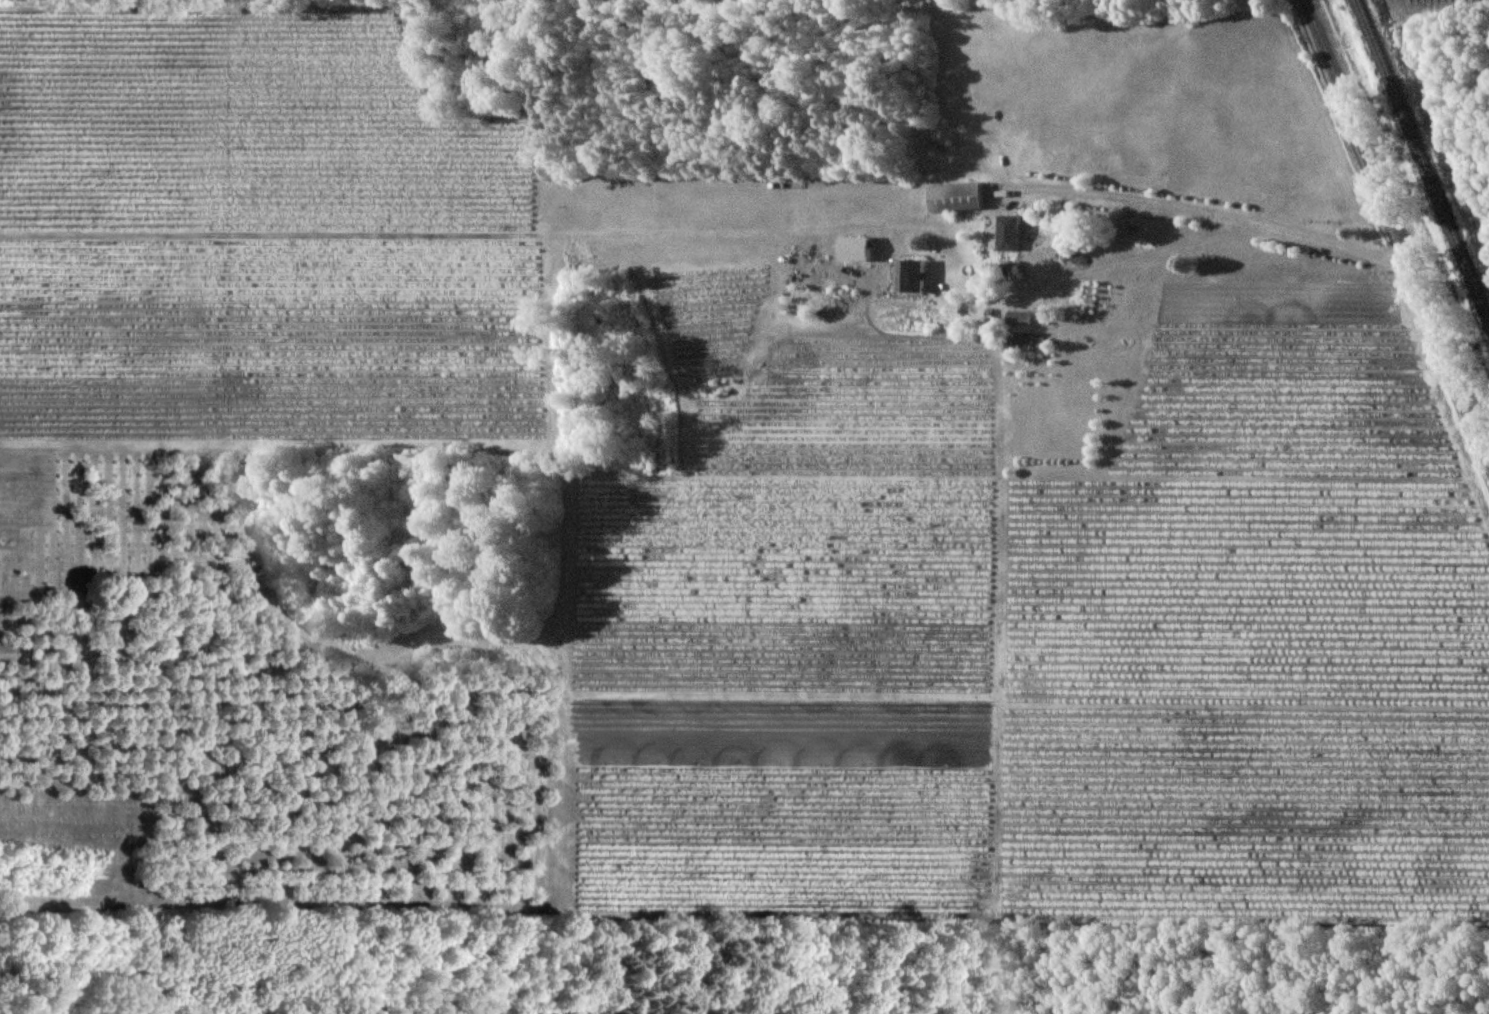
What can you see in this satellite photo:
railway: (1424, 159)
building: (963, 196)
road: (1188, 209)
road: (1397, 226)
building: (1013, 232)
building: (863, 248)
building: (915, 275)
building: (1022, 317)

